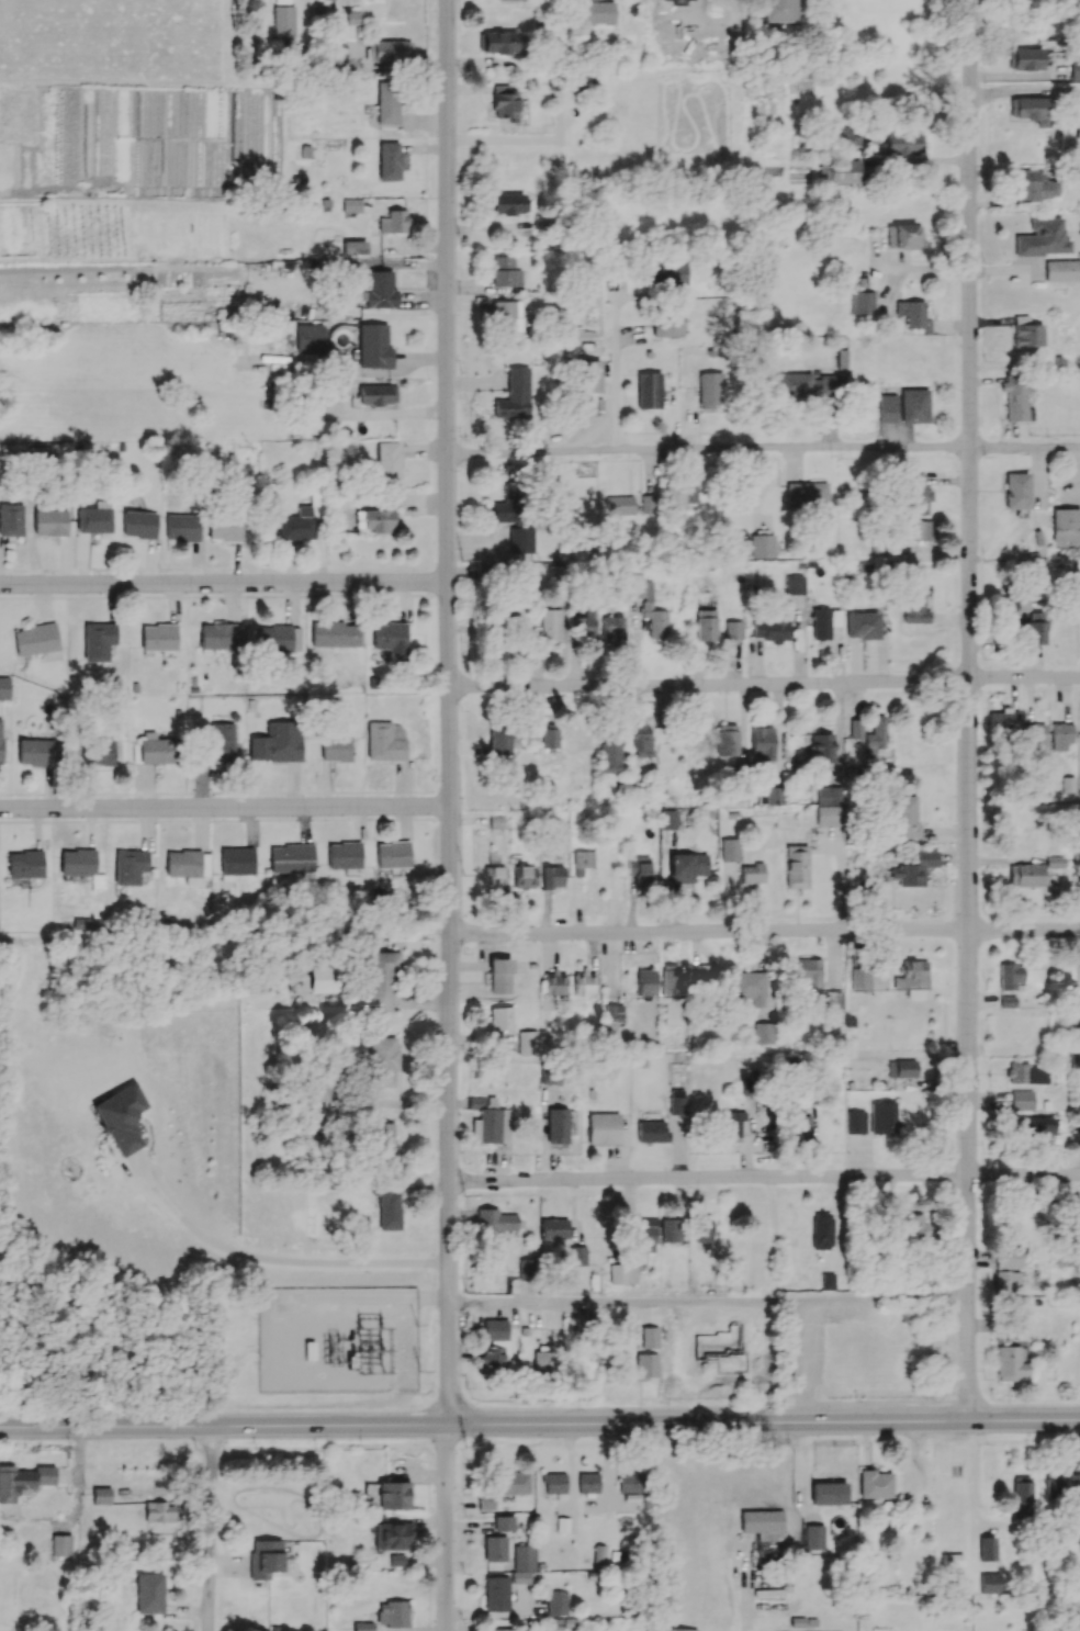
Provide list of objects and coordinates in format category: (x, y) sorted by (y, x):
building: (510, 0)
building: (592, 0)
building: (780, 10)
building: (598, 12)
building: (353, 18)
building: (283, 21)
building: (498, 42)
building: (390, 50)
building: (1025, 58)
building: (577, 79)
road: (1026, 97)
building: (386, 102)
building: (503, 102)
building: (1033, 110)
building: (850, 136)
building: (903, 143)
road: (527, 146)
building: (389, 160)
building: (840, 171)
building: (1034, 185)
building: (509, 203)
building: (351, 205)
building: (393, 222)
building: (903, 236)
building: (1043, 238)
building: (353, 247)
building: (1061, 270)
building: (506, 272)
building: (666, 273)
building: (380, 290)
building: (863, 302)
building: (913, 315)
building: (506, 316)
building: (666, 325)
building: (1026, 333)
building: (310, 337)
building: (373, 345)
road: (617, 359)
building: (587, 376)
building: (792, 384)
building: (648, 390)
building: (710, 390)
building: (376, 394)
building: (514, 395)
building: (1016, 396)
building: (913, 405)
building: (887, 408)
road: (763, 452)
building: (387, 463)
building: (1016, 493)
building: (806, 494)
building: (915, 494)
building: (679, 496)
building: (506, 505)
building: (619, 505)
building: (11, 519)
building: (93, 519)
building: (375, 520)
building: (49, 521)
building: (139, 524)
building: (1066, 525)
building: (181, 527)
building: (224, 529)
building: (916, 530)
building: (520, 541)
building: (762, 544)
building: (794, 584)
road: (224, 586)
building: (638, 588)
building: (916, 603)
building: (505, 614)
building: (654, 620)
building: (773, 623)
building: (821, 623)
building: (551, 625)
building: (584, 625)
building: (862, 625)
building: (706, 626)
building: (612, 628)
building: (1036, 628)
building: (733, 629)
building: (334, 633)
building: (215, 634)
building: (389, 635)
building: (158, 637)
building: (278, 638)
building: (36, 640)
building: (98, 640)
road: (764, 684)
building: (4, 687)
road: (971, 710)
road: (448, 711)
building: (1003, 719)
building: (855, 729)
building: (875, 735)
building: (1060, 736)
building: (549, 738)
building: (1033, 738)
building: (499, 739)
building: (727, 739)
building: (0, 740)
building: (642, 740)
building: (221, 741)
building: (278, 742)
building: (383, 742)
building: (762, 744)
building: (155, 747)
building: (821, 747)
building: (335, 749)
building: (98, 751)
building: (36, 752)
building: (610, 757)
building: (829, 795)
building: (772, 796)
road: (225, 811)
building: (829, 814)
building: (904, 815)
building: (668, 819)
building: (730, 850)
building: (393, 854)
building: (344, 855)
building: (291, 857)
building: (236, 861)
building: (77, 862)
building: (584, 863)
building: (24, 864)
building: (187, 865)
building: (128, 866)
building: (797, 866)
building: (686, 867)
building: (639, 869)
building: (914, 869)
building: (752, 873)
building: (1025, 875)
building: (524, 876)
building: (552, 876)
building: (494, 877)
road: (764, 933)
building: (809, 972)
building: (499, 976)
building: (702, 976)
building: (1010, 976)
building: (910, 977)
building: (381, 978)
building: (324, 979)
building: (859, 979)
building: (671, 980)
building: (553, 982)
building: (645, 982)
building: (583, 983)
building: (750, 987)
building: (833, 1001)
building: (1006, 1001)
building: (502, 1017)
building: (764, 1033)
building: (527, 1042)
building: (382, 1061)
building: (905, 1068)
building: (1027, 1073)
building: (549, 1076)
building: (1022, 1100)
building: (676, 1101)
building: (1078, 1111)
building: (884, 1117)
building: (121, 1118)
building: (490, 1121)
building: (799, 1121)
building: (854, 1122)
building: (731, 1123)
building: (558, 1125)
building: (603, 1128)
building: (1035, 1129)
building: (652, 1131)
building: (382, 1137)
road: (764, 1179)
building: (387, 1207)
building: (495, 1219)
building: (909, 1226)
building: (553, 1227)
building: (702, 1230)
building: (822, 1230)
building: (645, 1235)
building: (577, 1256)
road: (281, 1259)
building: (527, 1269)
building: (622, 1273)
building: (1005, 1279)
building: (828, 1281)
road: (328, 1300)
road: (709, 1302)
power tower: (385, 1327)
building: (649, 1337)
building: (496, 1343)
road: (805, 1361)
building: (541, 1363)
building: (1010, 1363)
building: (645, 1365)
power tower: (385, 1368)
road: (763, 1406)
road: (539, 1422)
building: (22, 1481)
building: (587, 1482)
building: (630, 1482)
building: (513, 1483)
building: (555, 1483)
building: (875, 1484)
building: (1062, 1485)
building: (828, 1493)
building: (101, 1495)
building: (393, 1495)
building: (1021, 1497)
building: (485, 1500)
building: (158, 1511)
building: (761, 1520)
building: (504, 1522)
road: (447, 1527)
road: (210, 1528)
building: (392, 1536)
building: (60, 1544)
building: (495, 1549)
building: (987, 1549)
building: (599, 1553)
building: (265, 1557)
building: (396, 1560)
building: (952, 1560)
building: (522, 1563)
building: (989, 1583)
road: (751, 1590)
building: (148, 1593)
building: (496, 1594)
building: (556, 1602)
building: (392, 1613)
building: (362, 1627)
building: (679, 1629)
building: (507, 1630)

